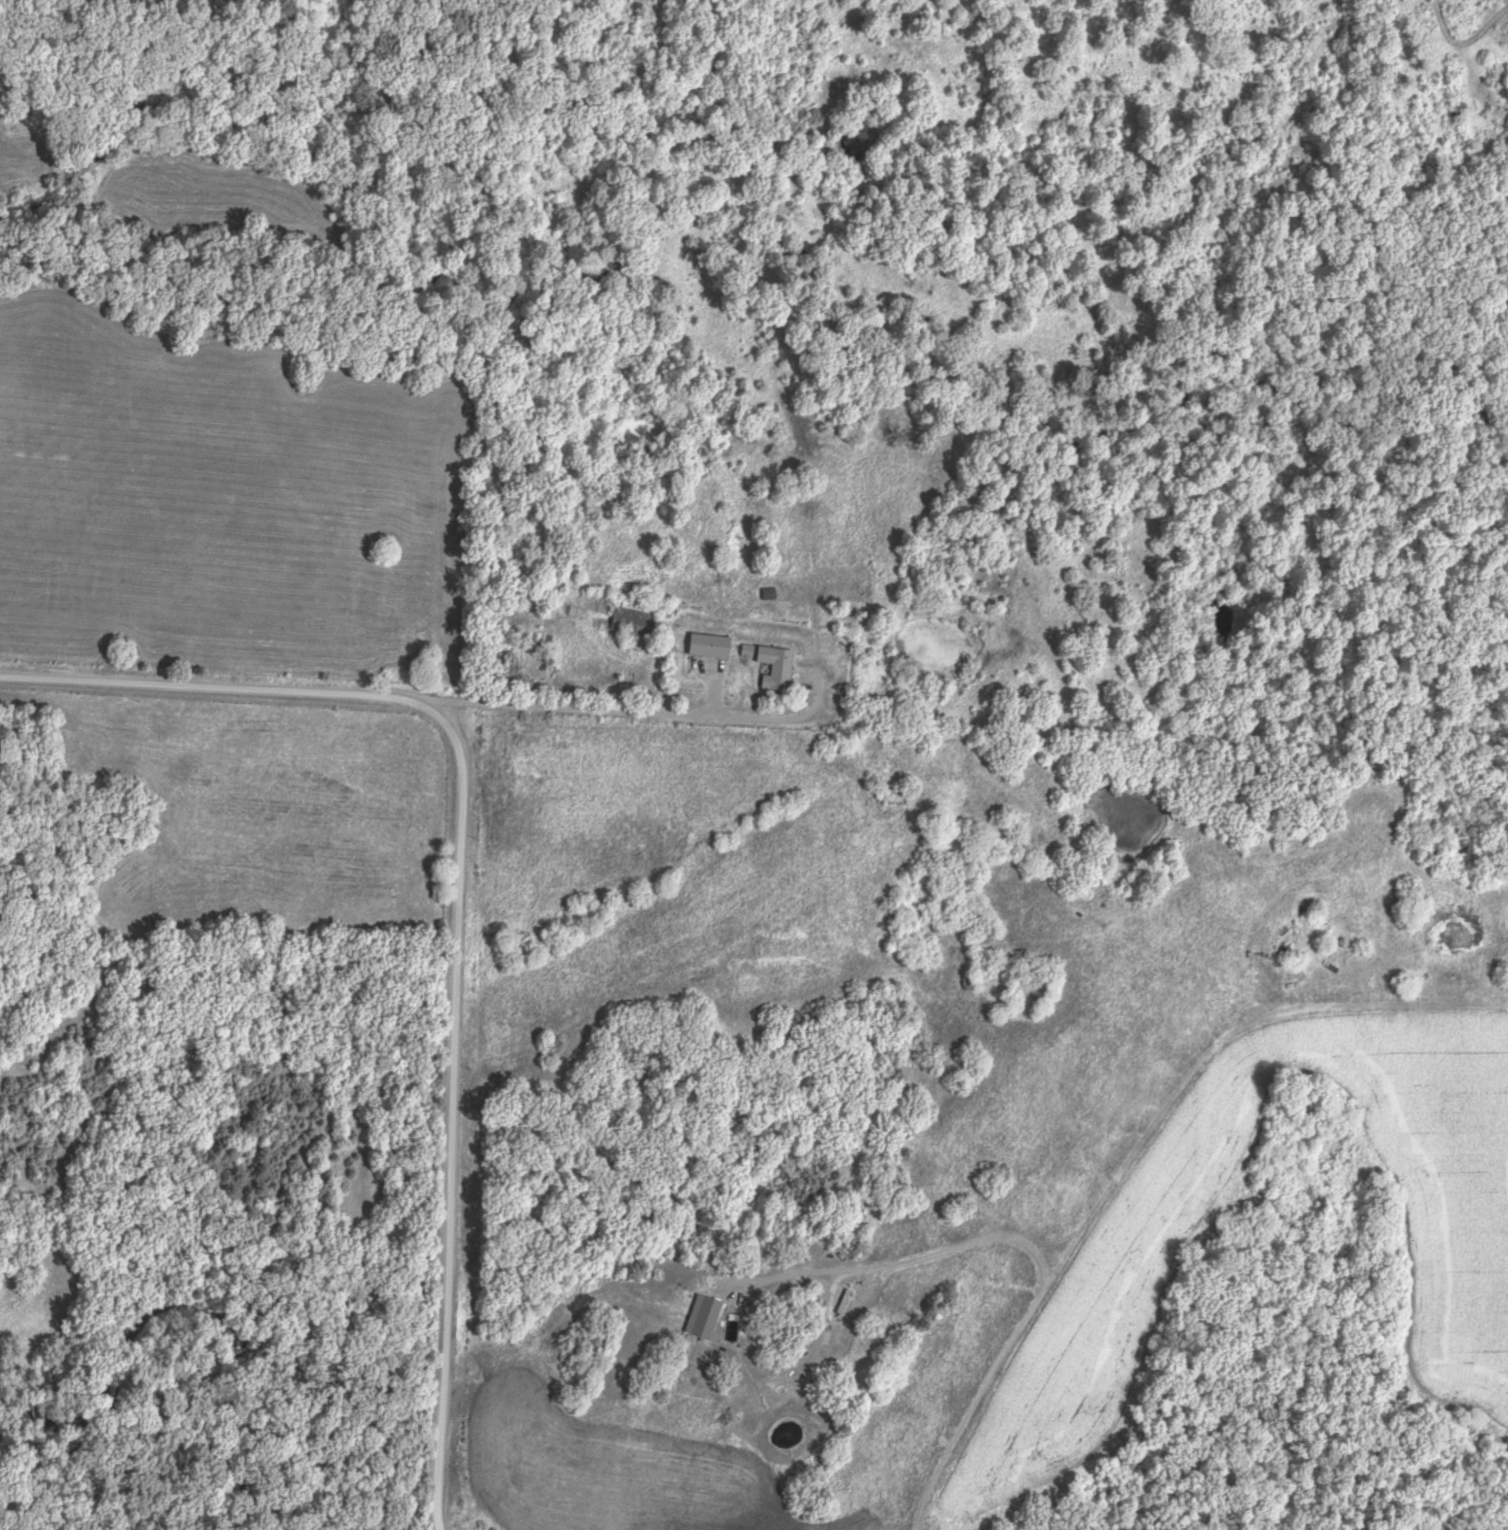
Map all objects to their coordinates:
building: (635, 619)
building: (777, 669)
road: (226, 689)
road: (661, 716)
road: (453, 1123)
road: (1148, 1159)

